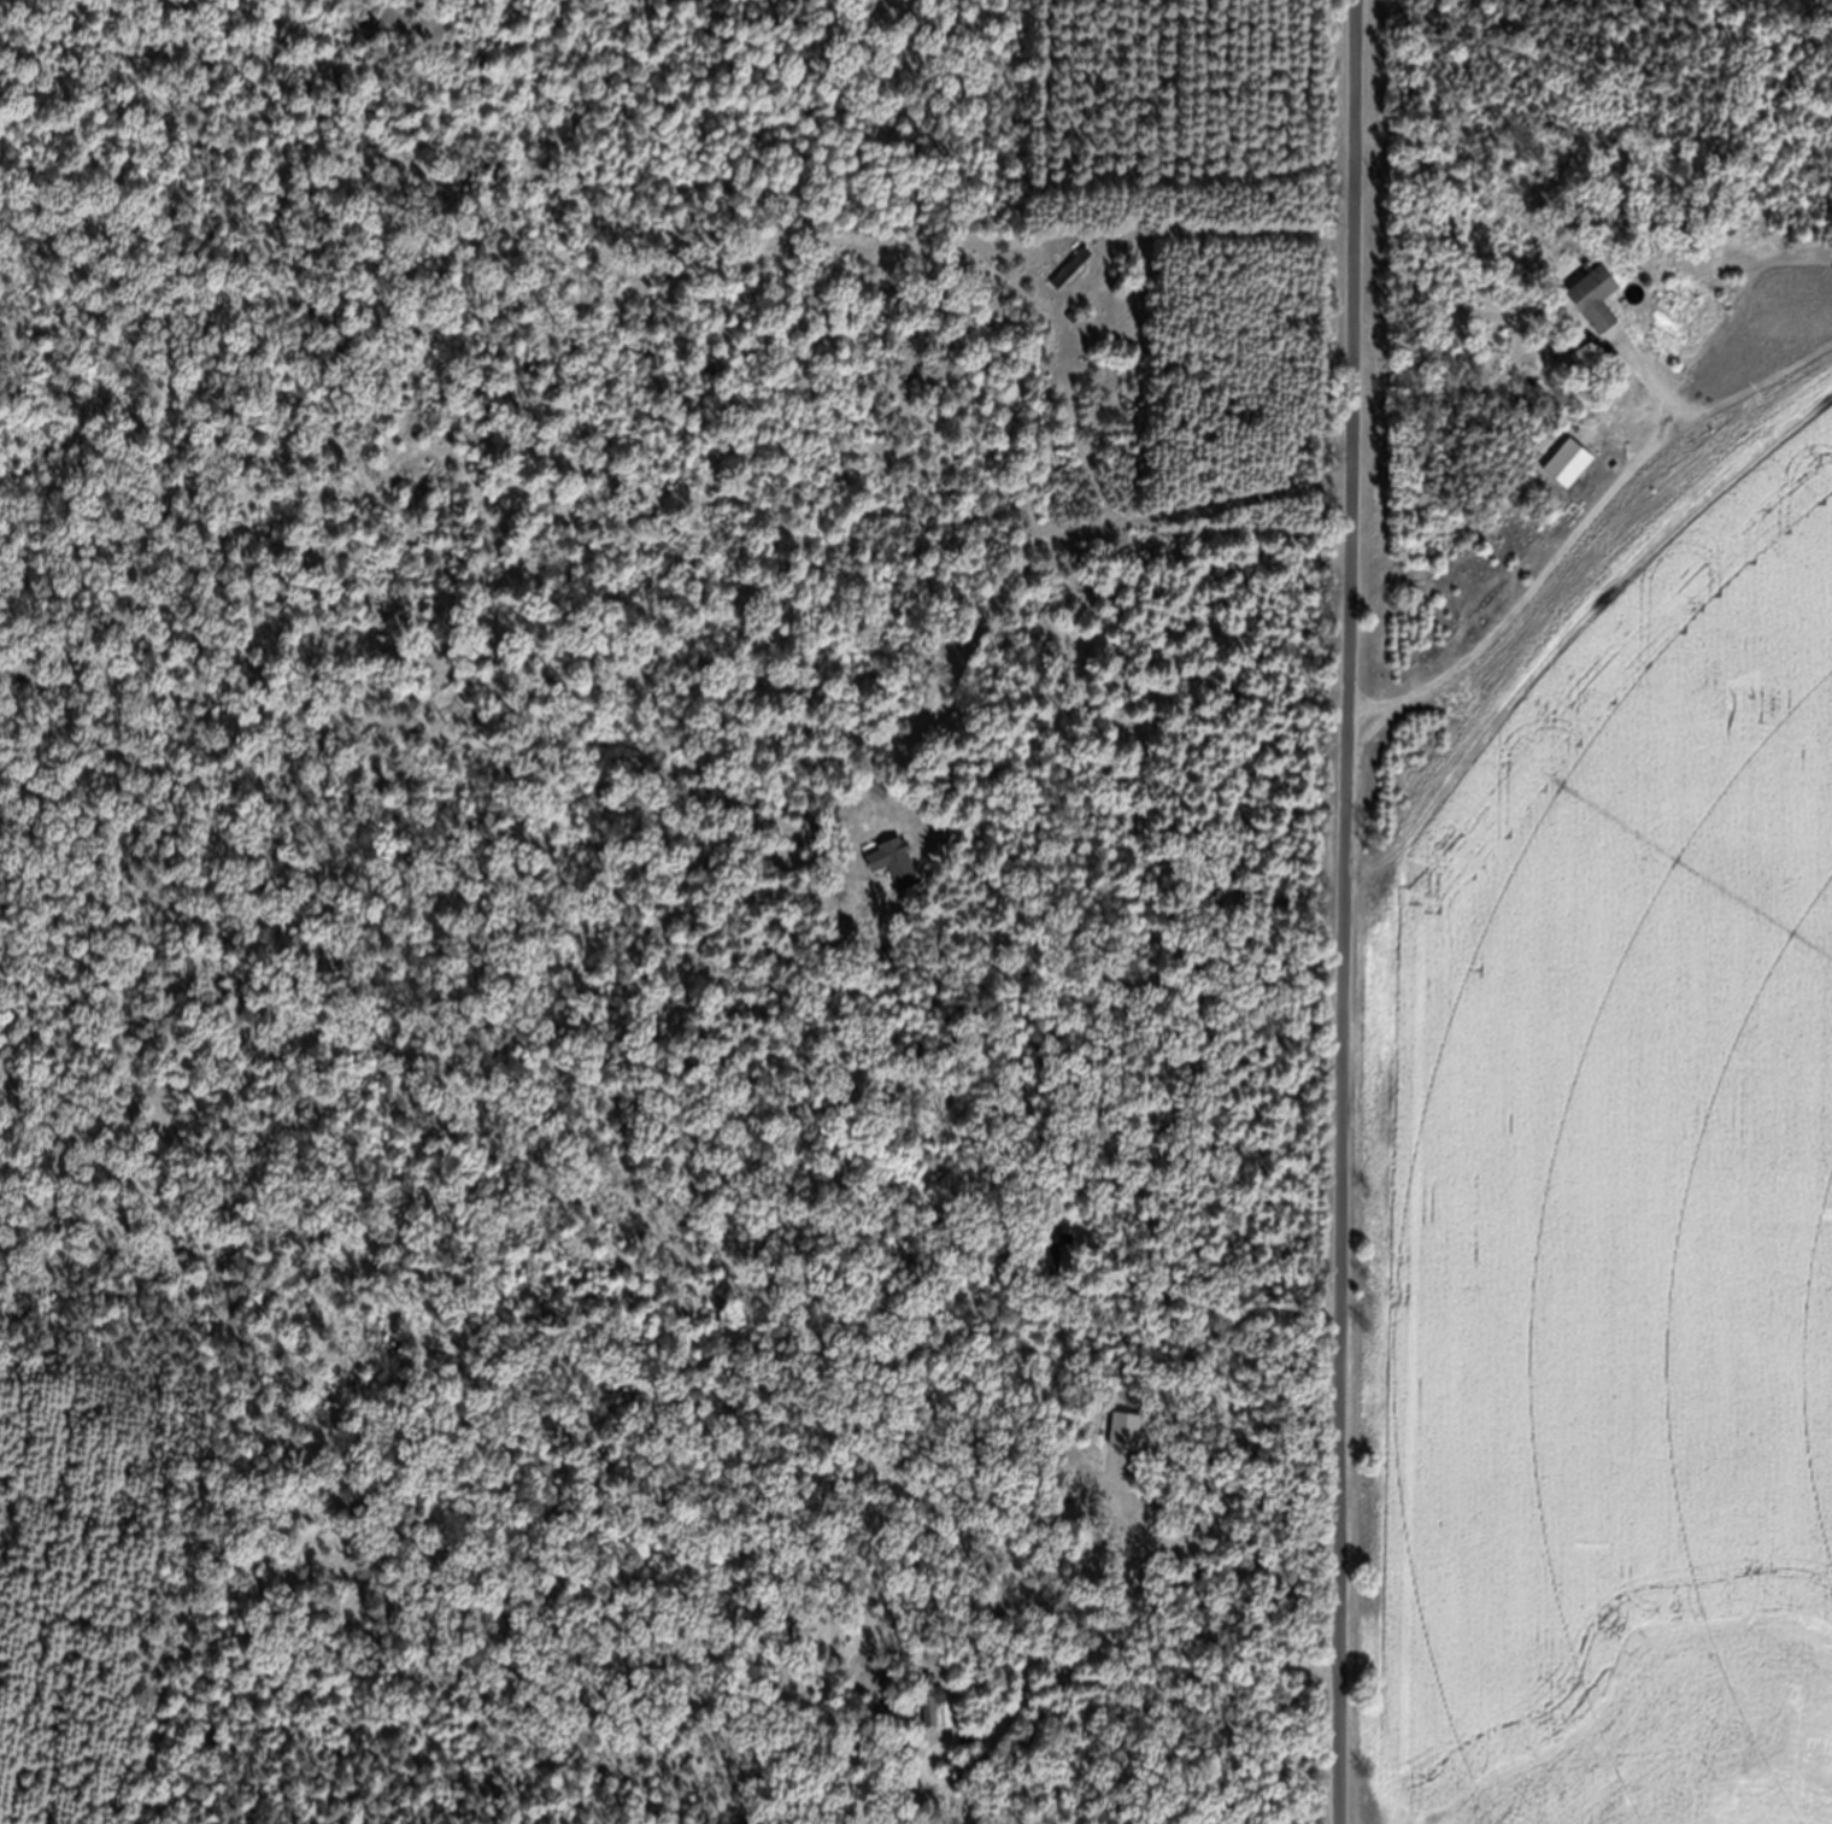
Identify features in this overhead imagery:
building: (1074, 283)
building: (1597, 315)
building: (1570, 479)
building: (883, 802)
building: (897, 876)
road: (1340, 911)
building: (1063, 1266)
building: (932, 1718)

